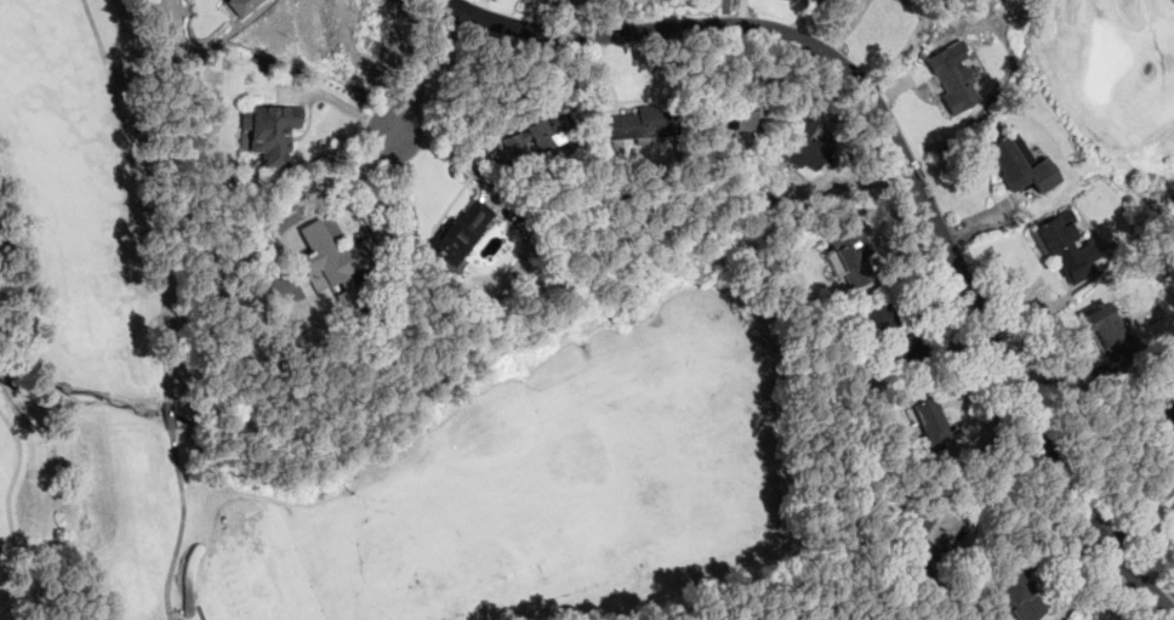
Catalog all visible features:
road: (1173, 0)
building: (239, 6)
road: (725, 12)
park: (1121, 69)
road: (421, 70)
building: (952, 80)
building: (742, 115)
building: (637, 124)
building: (269, 132)
building: (532, 137)
building: (803, 148)
road: (905, 163)
building: (1018, 164)
road: (354, 182)
building: (460, 233)
building: (1062, 246)
building: (332, 255)
building: (849, 256)
road: (163, 306)
building: (891, 330)
building: (1106, 332)
building: (1161, 403)
park: (395, 422)
building: (930, 427)
road: (986, 496)
road: (1136, 511)
road: (7, 514)
road: (1084, 588)
building: (1015, 593)

